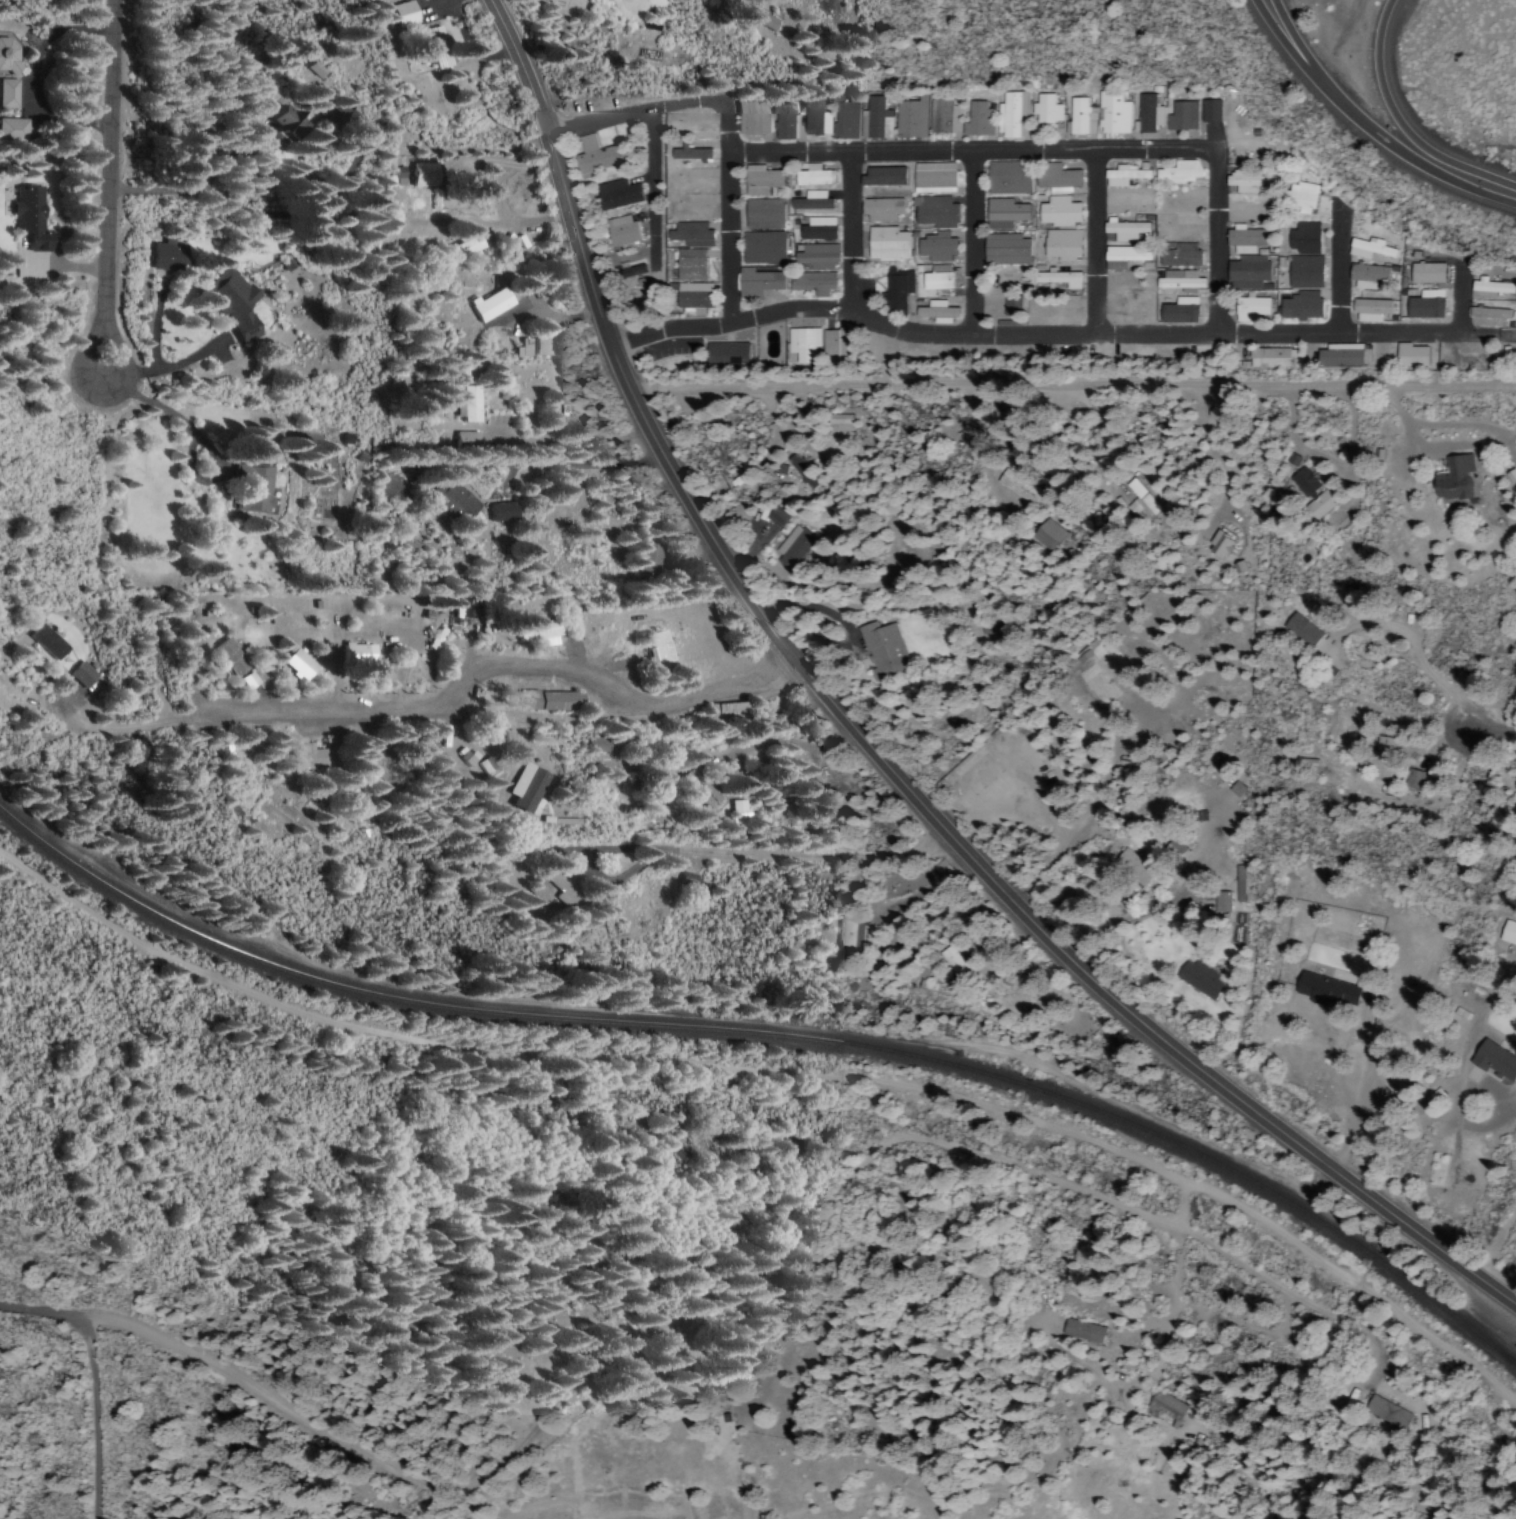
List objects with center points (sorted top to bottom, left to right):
building: (747, 1)
building: (402, 14)
building: (766, 21)
building: (435, 47)
road: (1297, 54)
building: (6, 55)
building: (312, 68)
building: (7, 93)
building: (1046, 110)
building: (1209, 112)
building: (1113, 114)
building: (1148, 115)
building: (1012, 116)
building: (344, 117)
building: (1181, 117)
building: (753, 118)
building: (943, 118)
building: (1081, 118)
building: (911, 119)
road: (1409, 119)
building: (876, 120)
building: (845, 121)
building: (978, 121)
building: (783, 122)
road: (1376, 126)
building: (12, 129)
road: (987, 148)
building: (690, 154)
building: (596, 157)
building: (1179, 173)
building: (423, 175)
building: (814, 176)
building: (1124, 176)
building: (934, 179)
building: (1006, 179)
building: (1057, 179)
building: (761, 181)
building: (1247, 183)
road: (113, 187)
building: (617, 195)
building: (1300, 198)
building: (881, 210)
building: (1059, 212)
building: (936, 213)
building: (763, 214)
building: (1004, 214)
building: (817, 229)
road: (856, 230)
building: (1126, 231)
building: (30, 232)
building: (622, 233)
building: (691, 235)
building: (1304, 239)
building: (1245, 240)
road: (979, 241)
road: (1101, 241)
building: (887, 244)
building: (1062, 245)
building: (465, 246)
building: (937, 248)
building: (764, 249)
building: (1006, 250)
building: (1370, 250)
building: (165, 255)
building: (1180, 255)
building: (817, 257)
building: (1125, 257)
building: (690, 262)
road: (1346, 269)
building: (631, 272)
building: (1247, 273)
building: (1304, 273)
building: (1428, 274)
building: (1366, 276)
building: (937, 278)
building: (1060, 280)
building: (1178, 280)
building: (757, 283)
building: (814, 283)
building: (1491, 287)
building: (895, 292)
building: (694, 297)
road: (1467, 297)
road: (651, 302)
building: (231, 303)
building: (1011, 303)
building: (488, 304)
building: (1301, 306)
building: (1251, 307)
building: (1370, 310)
building: (937, 312)
building: (1490, 316)
road: (1049, 334)
building: (803, 344)
building: (540, 346)
building: (835, 346)
building: (521, 348)
building: (726, 355)
building: (1343, 356)
building: (1411, 356)
building: (1270, 359)
building: (468, 405)
building: (838, 421)
building: (1184, 429)
building: (464, 438)
building: (803, 471)
building: (1511, 477)
building: (1453, 479)
building: (252, 487)
building: (1019, 487)
building: (1313, 494)
building: (451, 500)
building: (1140, 501)
building: (499, 511)
building: (775, 517)
building: (1047, 535)
building: (1219, 546)
building: (793, 548)
building: (645, 558)
building: (1301, 630)
building: (539, 633)
building: (45, 641)
building: (882, 648)
building: (657, 649)
building: (357, 653)
building: (229, 656)
building: (297, 664)
building: (81, 673)
building: (249, 680)
road: (463, 690)
building: (548, 699)
building: (725, 708)
road: (1493, 734)
building: (1384, 746)
road: (876, 747)
building: (307, 756)
building: (468, 757)
building: (377, 768)
building: (1380, 771)
building: (526, 787)
building: (1236, 789)
building: (702, 790)
building: (738, 810)
building: (1175, 849)
building: (1133, 867)
building: (942, 869)
building: (686, 879)
building: (1240, 884)
building: (561, 888)
building: (1221, 902)
building: (1508, 933)
building: (852, 934)
road: (976, 943)
building: (952, 961)
building: (1199, 980)
building: (1326, 990)
railway: (774, 1034)
building: (1494, 1060)
road: (877, 1150)
building: (1082, 1331)
road: (253, 1379)
building: (1166, 1406)
road: (99, 1408)
building: (1387, 1413)

